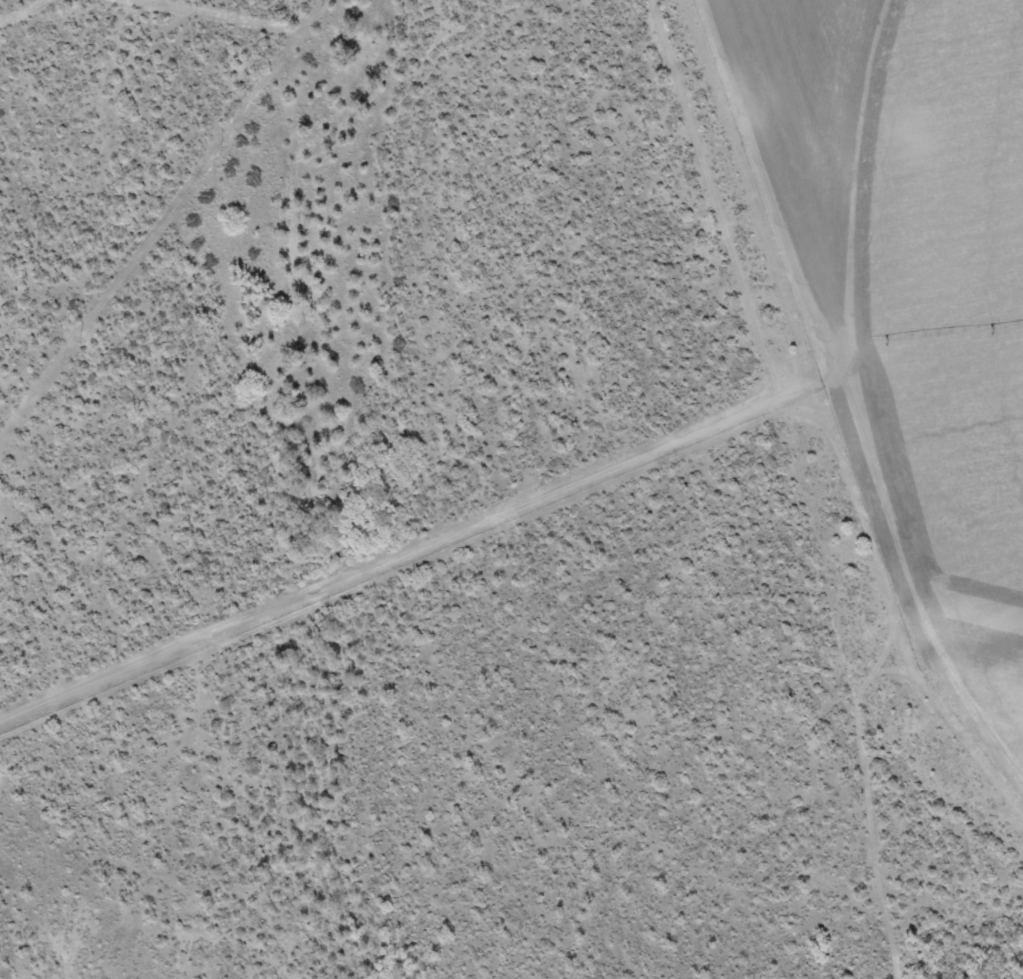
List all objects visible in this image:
road: (27, 10)
road: (332, 38)
road: (809, 482)
road: (43, 921)

